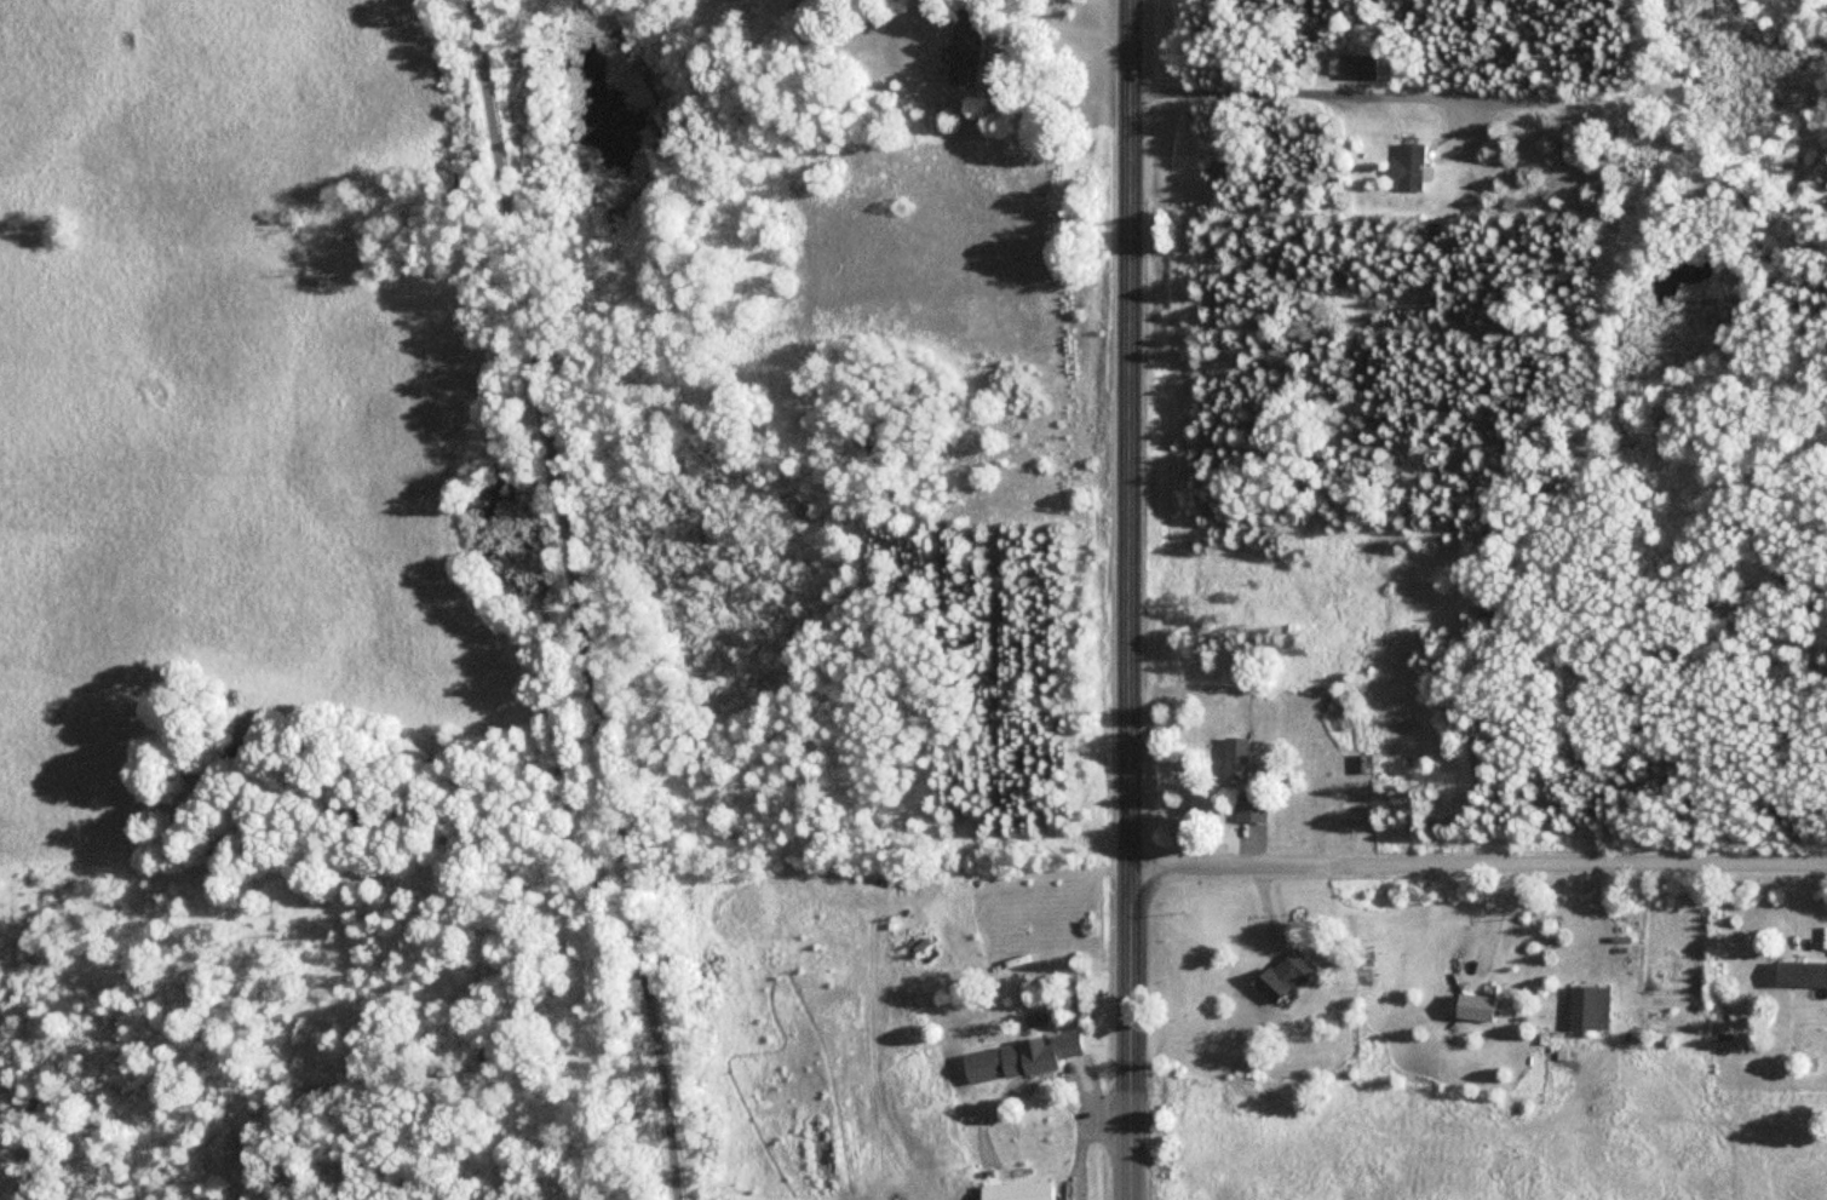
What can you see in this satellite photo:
building: (966, 46)
building: (1358, 65)
road: (1316, 92)
building: (1412, 166)
road: (1128, 432)
road: (580, 599)
building: (1236, 756)
building: (1251, 806)
road: (1225, 863)
road: (1573, 867)
building: (1799, 974)
building: (1281, 975)
building: (1473, 1007)
building: (1587, 1007)
road: (1130, 1032)
building: (1018, 1057)
building: (1016, 1190)

